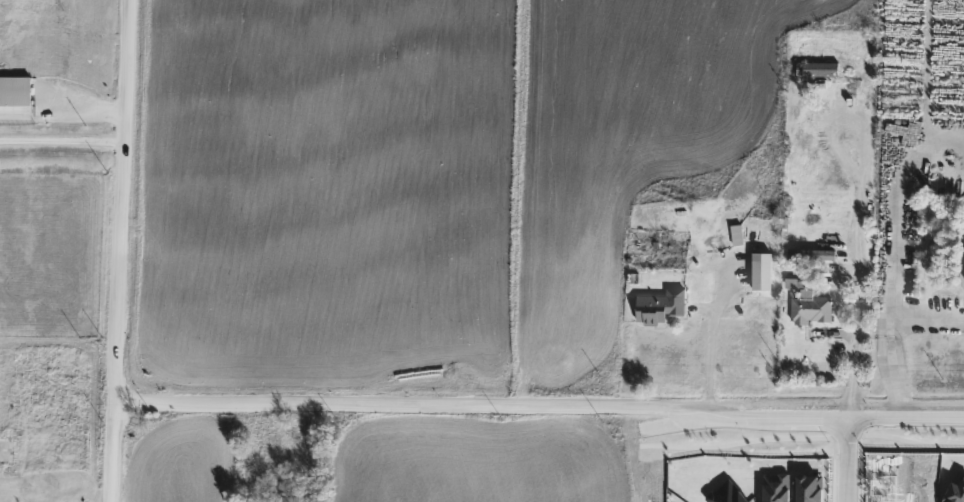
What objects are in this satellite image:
building: (816, 69)
building: (14, 90)
road: (62, 137)
road: (856, 225)
road: (121, 251)
building: (811, 253)
road: (894, 256)
building: (760, 270)
building: (658, 304)
building: (809, 306)
road: (927, 322)
road: (704, 357)
road: (540, 404)
building: (6, 450)
road: (850, 454)

